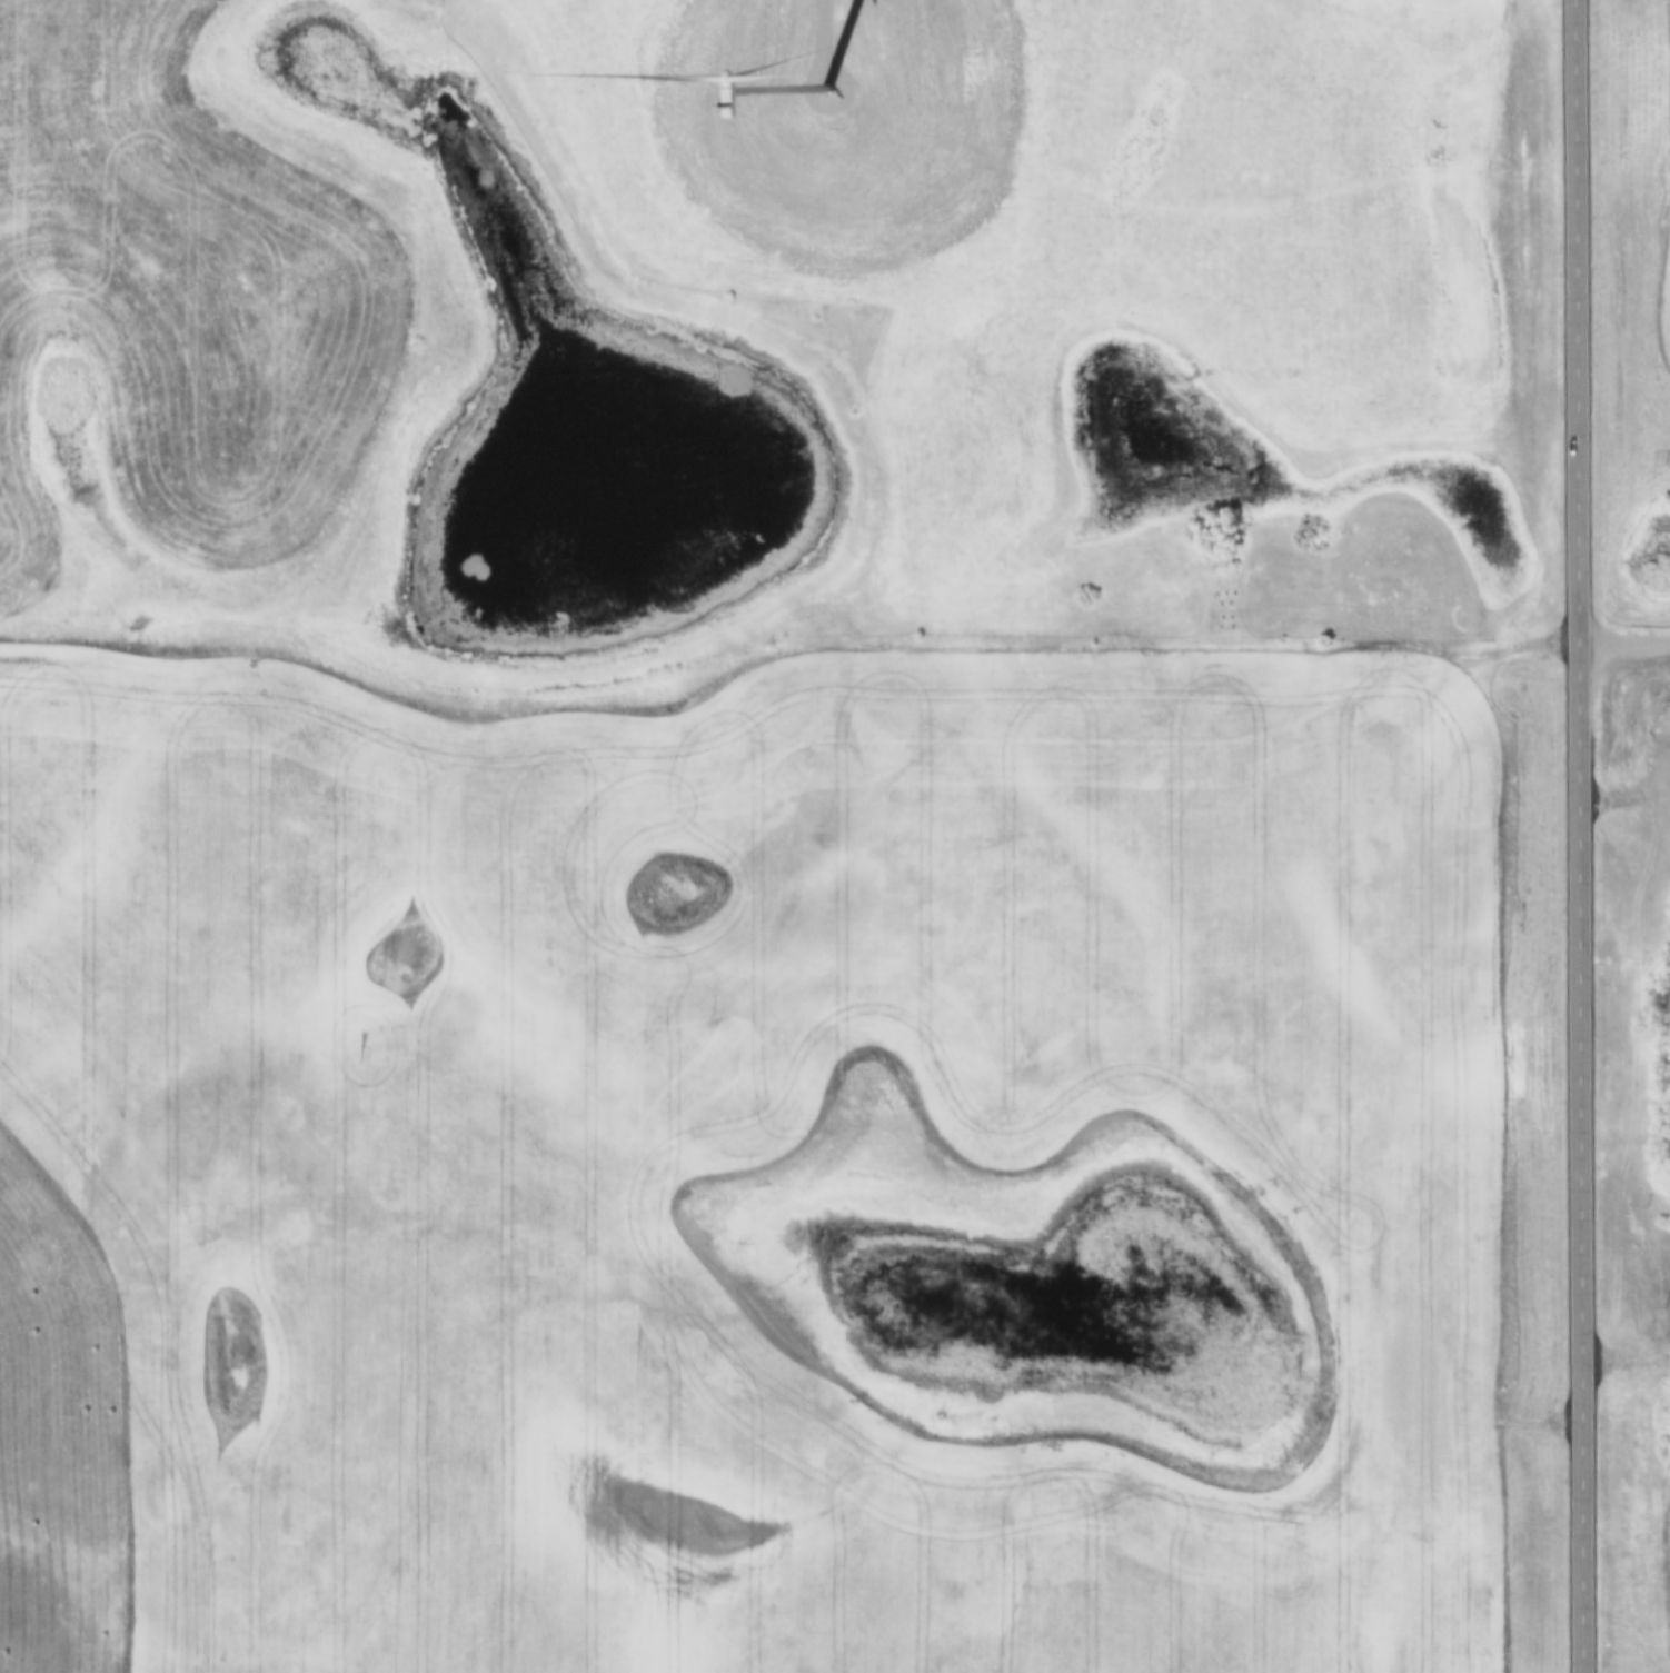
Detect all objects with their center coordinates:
road: (821, 21)
wind turbine: (852, 72)
road: (1622, 650)
road: (1577, 836)
road: (1627, 1352)

